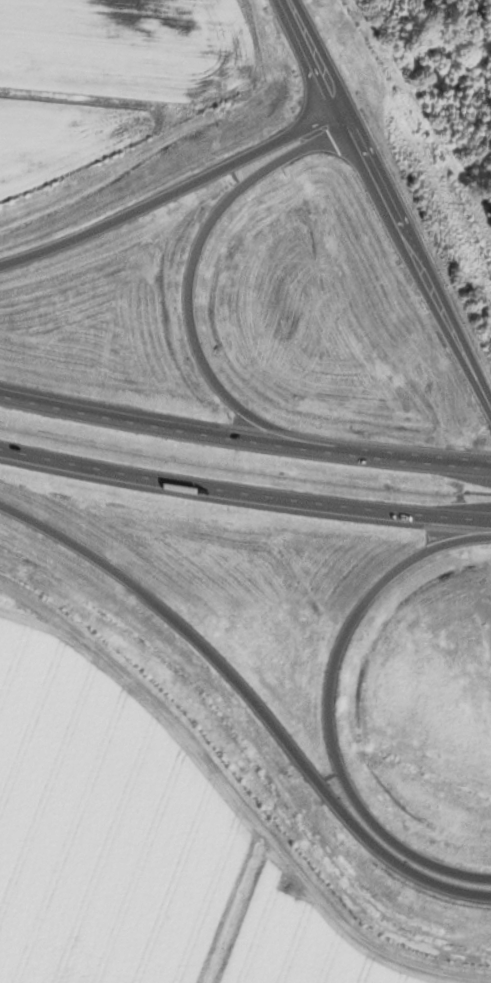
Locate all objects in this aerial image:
building: (443, 117)
road: (170, 194)
road: (385, 215)
road: (189, 320)
road: (244, 440)
road: (244, 492)
road: (252, 698)
road: (327, 705)

